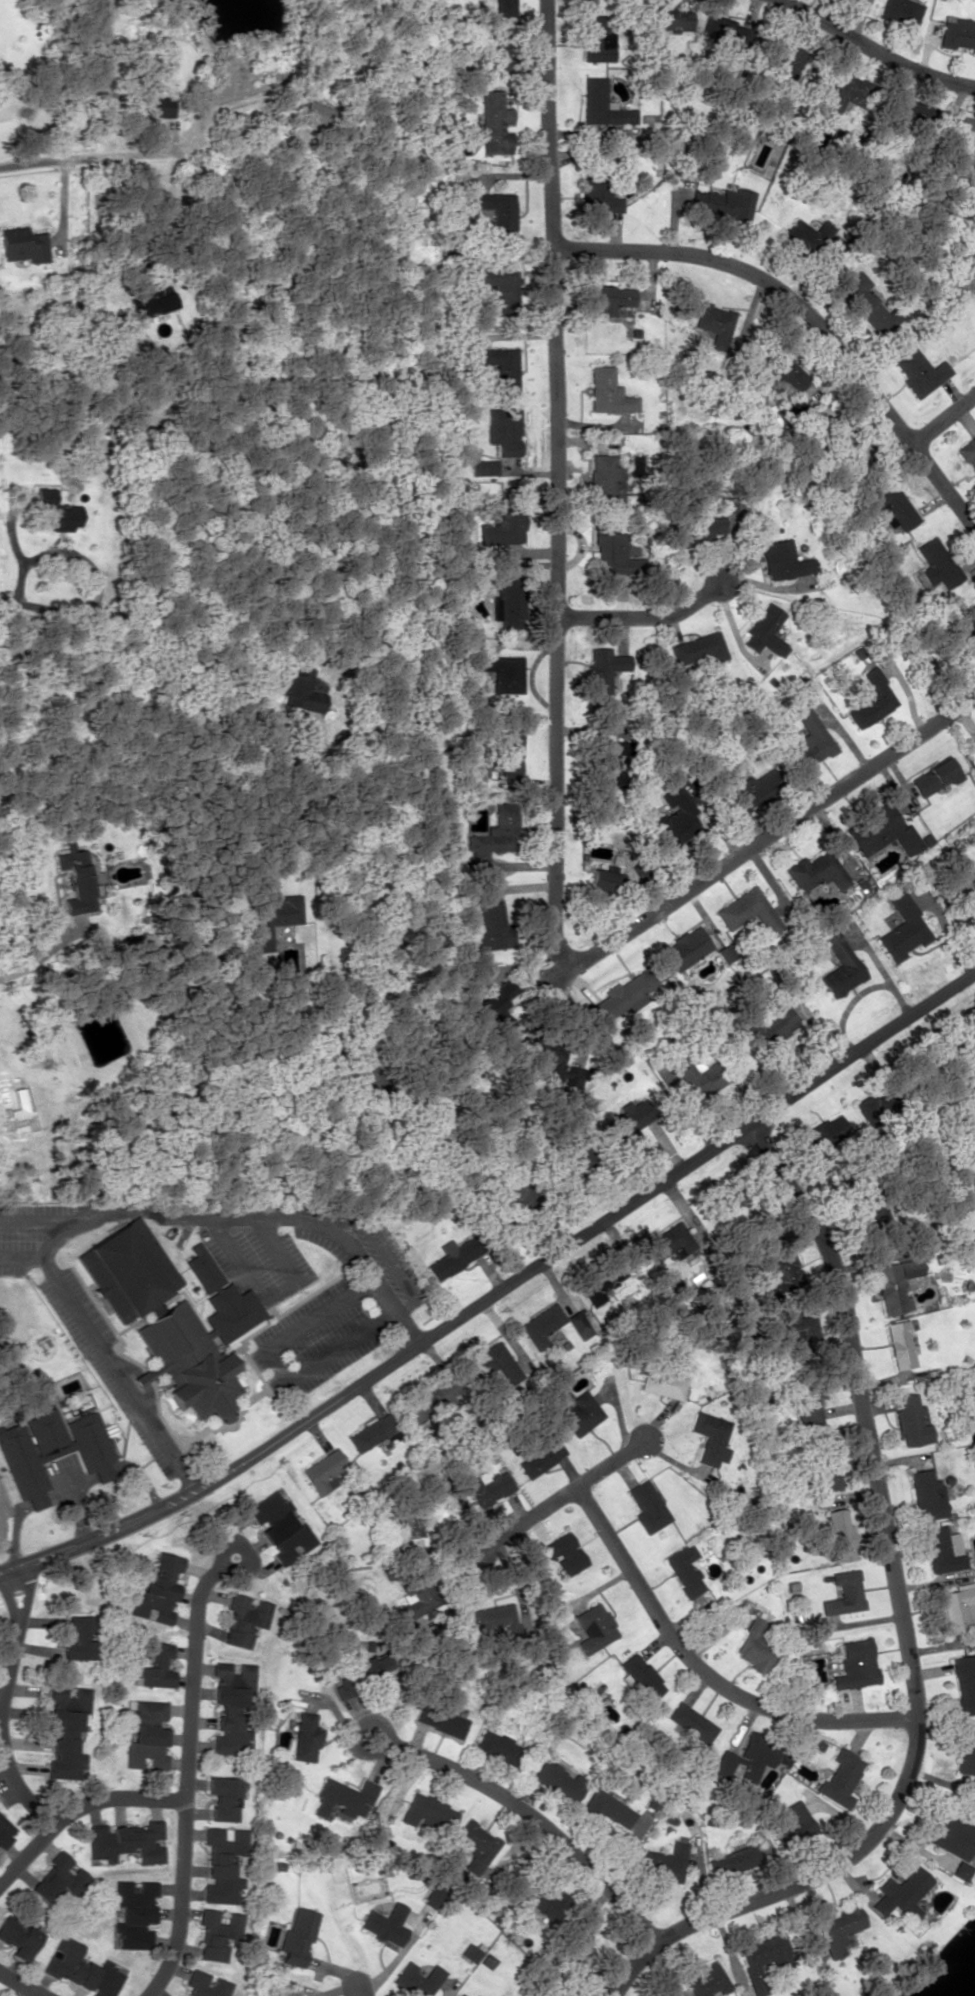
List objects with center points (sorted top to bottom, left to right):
building: (503, 6)
building: (899, 12)
building: (664, 17)
building: (957, 33)
building: (595, 38)
road: (874, 50)
building: (498, 57)
building: (789, 68)
building: (846, 92)
building: (601, 104)
building: (161, 106)
building: (914, 111)
building: (315, 114)
building: (494, 123)
building: (967, 132)
road: (102, 156)
building: (600, 196)
building: (722, 202)
building: (496, 212)
building: (803, 237)
building: (23, 244)
building: (498, 285)
building: (608, 298)
building: (150, 299)
building: (868, 304)
road: (812, 315)
building: (712, 323)
building: (499, 367)
building: (919, 371)
building: (782, 374)
building: (607, 392)
road: (941, 416)
building: (503, 430)
building: (968, 453)
building: (484, 466)
building: (604, 480)
building: (891, 502)
building: (55, 512)
building: (503, 526)
building: (694, 527)
building: (614, 553)
building: (782, 560)
building: (935, 563)
building: (506, 602)
road: (640, 616)
building: (969, 628)
building: (764, 631)
building: (697, 648)
road: (14, 657)
building: (603, 668)
building: (502, 672)
building: (298, 689)
building: (871, 700)
road: (555, 724)
building: (809, 737)
building: (511, 750)
building: (608, 764)
building: (933, 776)
building: (754, 791)
building: (674, 817)
building: (882, 832)
building: (493, 836)
building: (817, 872)
building: (972, 877)
building: (601, 879)
building: (77, 881)
building: (746, 910)
building: (272, 916)
building: (491, 926)
building: (902, 927)
building: (684, 948)
building: (839, 964)
building: (467, 989)
building: (625, 994)
building: (491, 1006)
building: (772, 1024)
building: (560, 1070)
building: (698, 1076)
building: (868, 1106)
building: (628, 1121)
building: (825, 1131)
building: (669, 1242)
building: (454, 1255)
building: (784, 1268)
building: (126, 1269)
building: (601, 1282)
building: (895, 1284)
road: (502, 1300)
building: (578, 1324)
building: (799, 1329)
building: (198, 1341)
building: (900, 1344)
building: (495, 1361)
building: (662, 1383)
building: (429, 1400)
building: (809, 1403)
building: (579, 1413)
building: (910, 1420)
building: (371, 1432)
building: (710, 1437)
building: (54, 1454)
building: (541, 1458)
building: (826, 1470)
building: (322, 1471)
building: (488, 1487)
building: (926, 1494)
road: (558, 1498)
building: (647, 1506)
building: (408, 1522)
building: (279, 1526)
building: (839, 1533)
building: (943, 1549)
building: (565, 1553)
building: (684, 1570)
building: (157, 1590)
building: (844, 1593)
building: (957, 1608)
building: (243, 1619)
building: (496, 1619)
building: (595, 1627)
road: (904, 1627)
building: (78, 1638)
road: (12, 1642)
building: (755, 1645)
building: (855, 1663)
building: (154, 1665)
building: (369, 1666)
road: (705, 1669)
building: (641, 1676)
building: (964, 1682)
building: (232, 1706)
building: (439, 1720)
building: (692, 1722)
building: (66, 1731)
building: (146, 1735)
building: (305, 1737)
building: (498, 1747)
building: (966, 1750)
building: (746, 1758)
road: (184, 1775)
building: (840, 1777)
building: (557, 1781)
road: (15, 1785)
building: (222, 1798)
building: (343, 1798)
road: (77, 1807)
building: (607, 1808)
road: (528, 1816)
building: (792, 1823)
building: (5, 1832)
building: (949, 1834)
building: (126, 1841)
building: (732, 1860)
building: (222, 1863)
building: (664, 1863)
building: (959, 1870)
building: (59, 1877)
building: (899, 1893)
building: (433, 1896)
building: (551, 1904)
building: (133, 1913)
building: (384, 1924)
building: (837, 1928)
building: (216, 1932)
building: (297, 1937)
building: (19, 1938)
building: (468, 1952)
building: (763, 1958)
building: (81, 1968)
building: (417, 1979)
building: (705, 1980)
road: (22, 1982)
building: (204, 1984)
road: (360, 1990)

